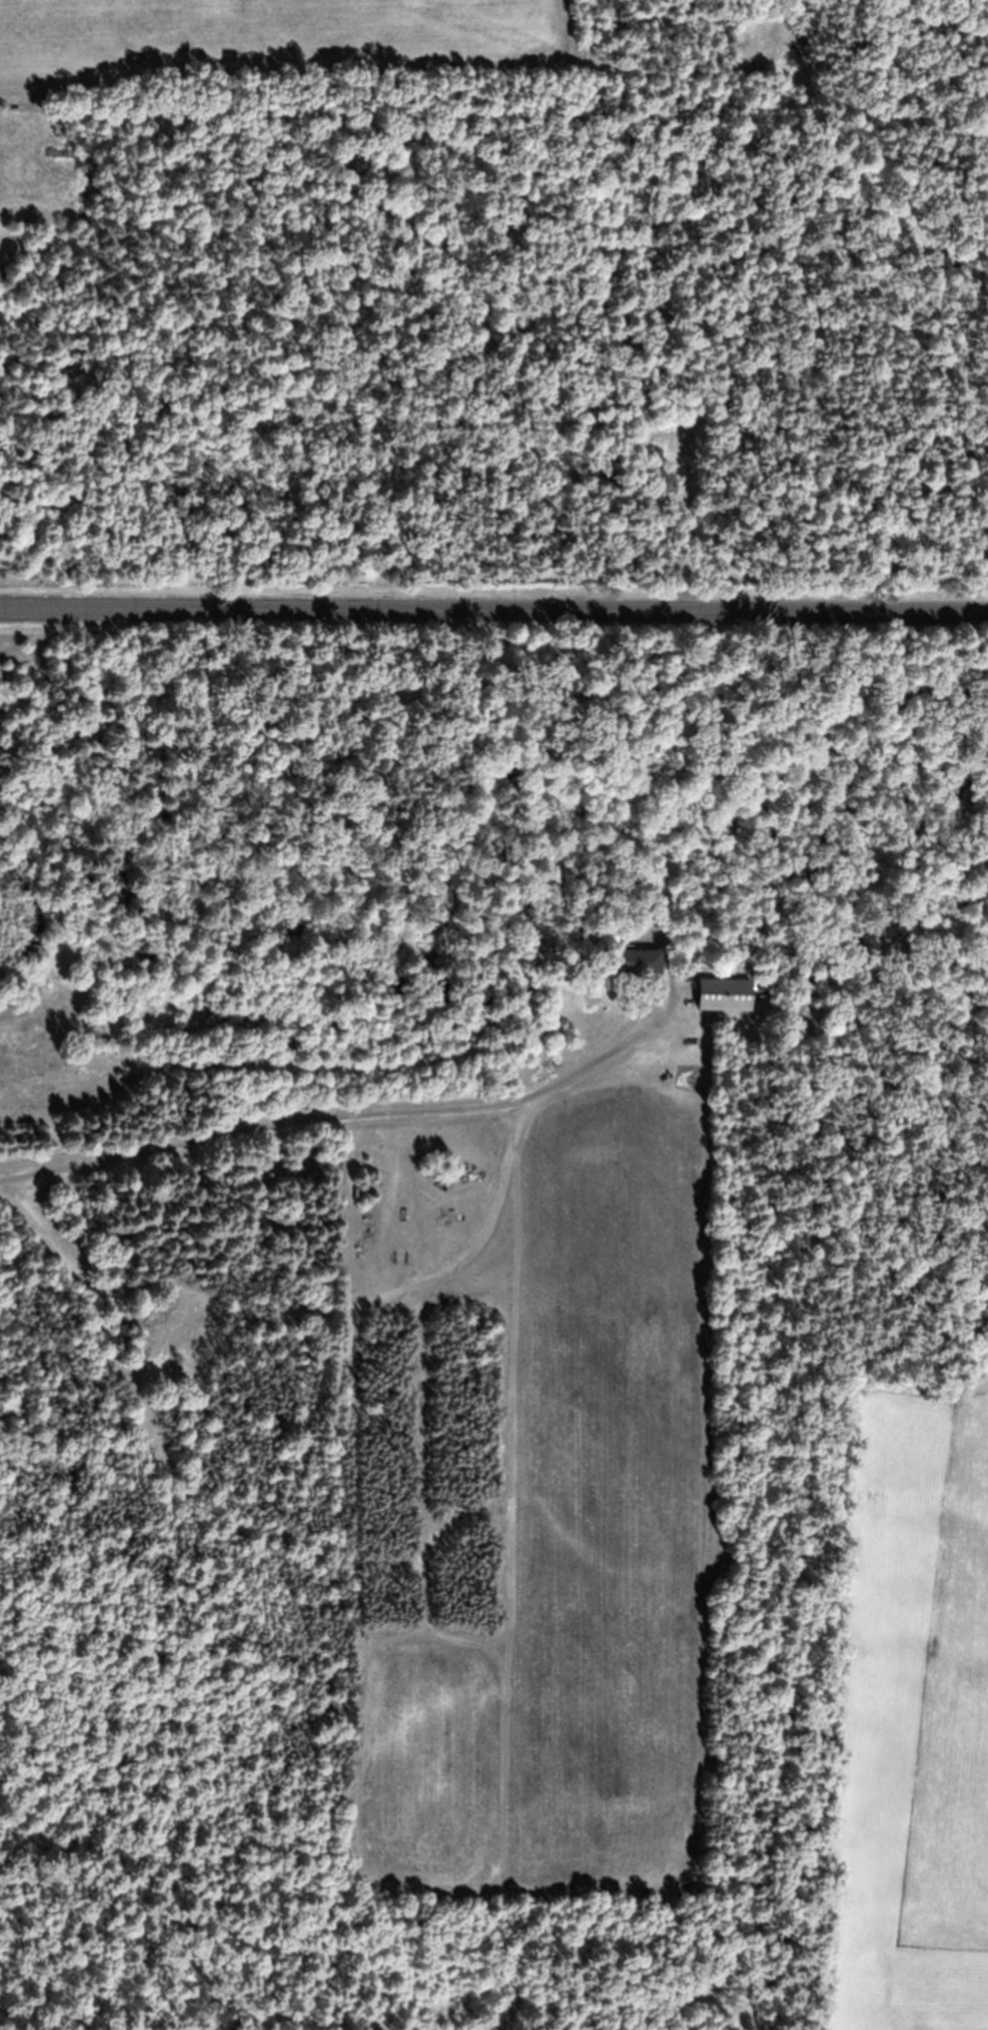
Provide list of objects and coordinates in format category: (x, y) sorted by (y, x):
crop: (269, 38)
road: (494, 611)
building: (636, 962)
building: (724, 995)
building: (954, 2014)

